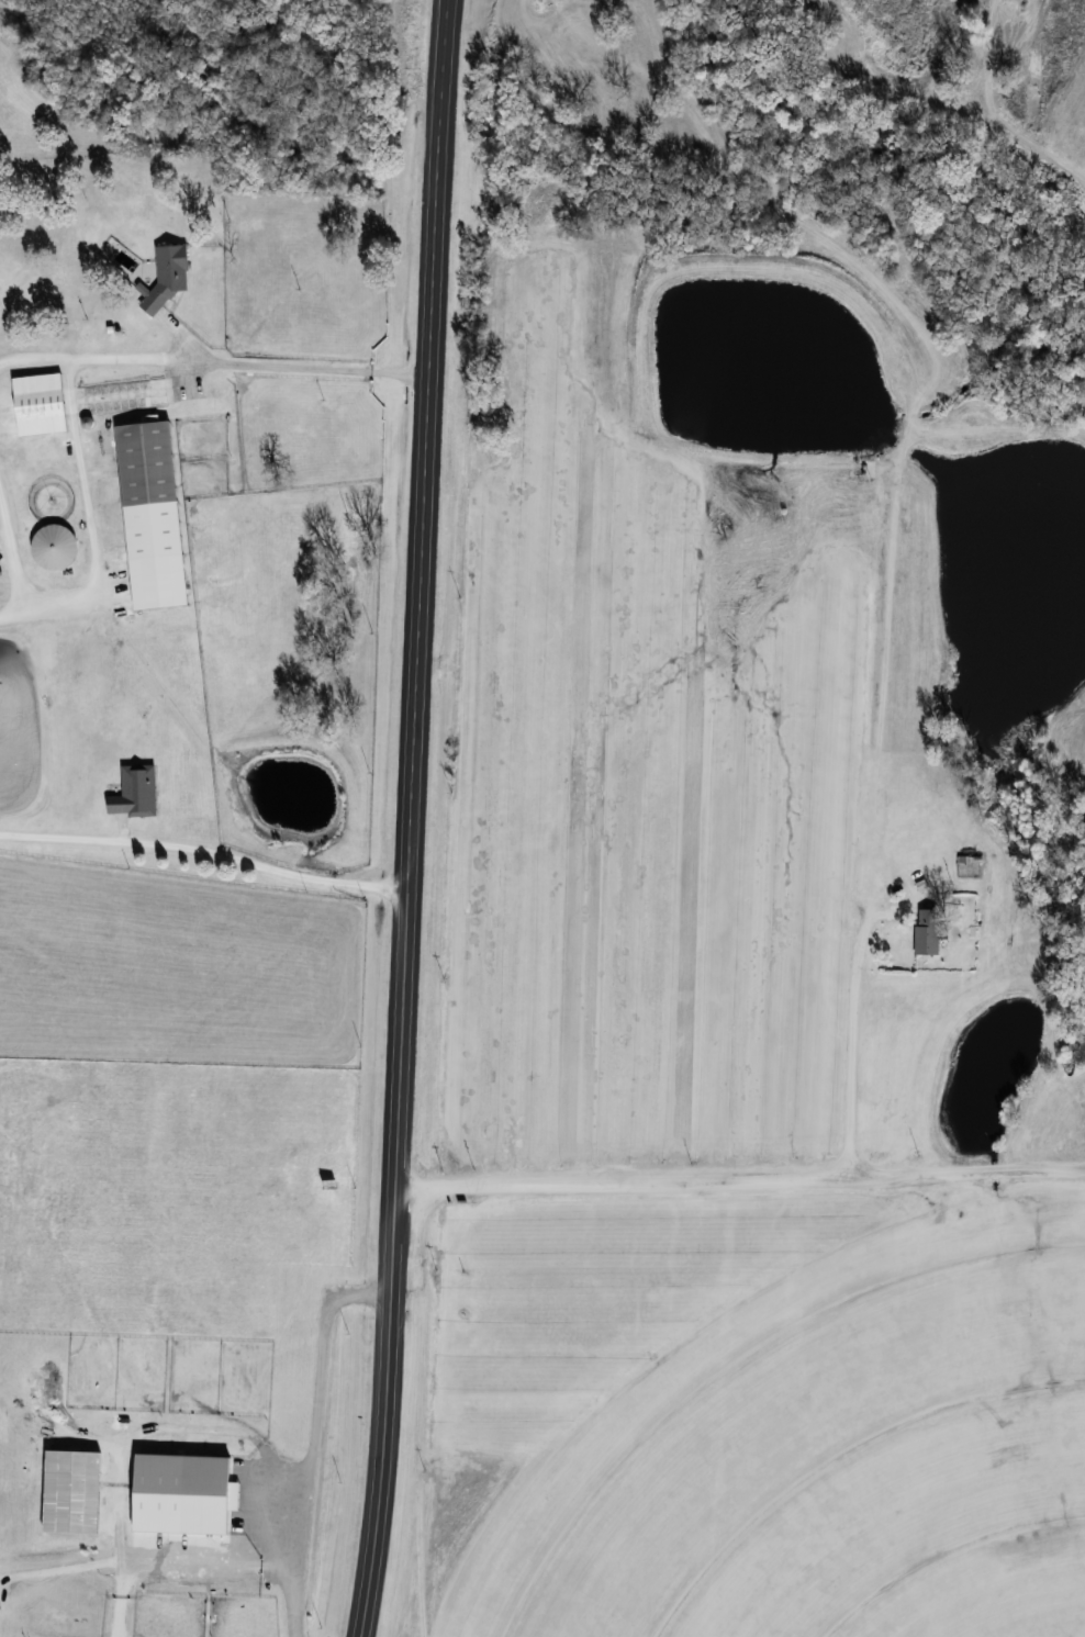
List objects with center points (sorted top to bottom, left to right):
building: (169, 273)
road: (214, 365)
building: (125, 394)
building: (41, 403)
building: (154, 515)
road: (90, 527)
building: (56, 546)
road: (12, 552)
building: (137, 791)
road: (413, 818)
road: (206, 853)
building: (928, 931)
road: (741, 1176)
road: (317, 1439)
road: (99, 1561)

